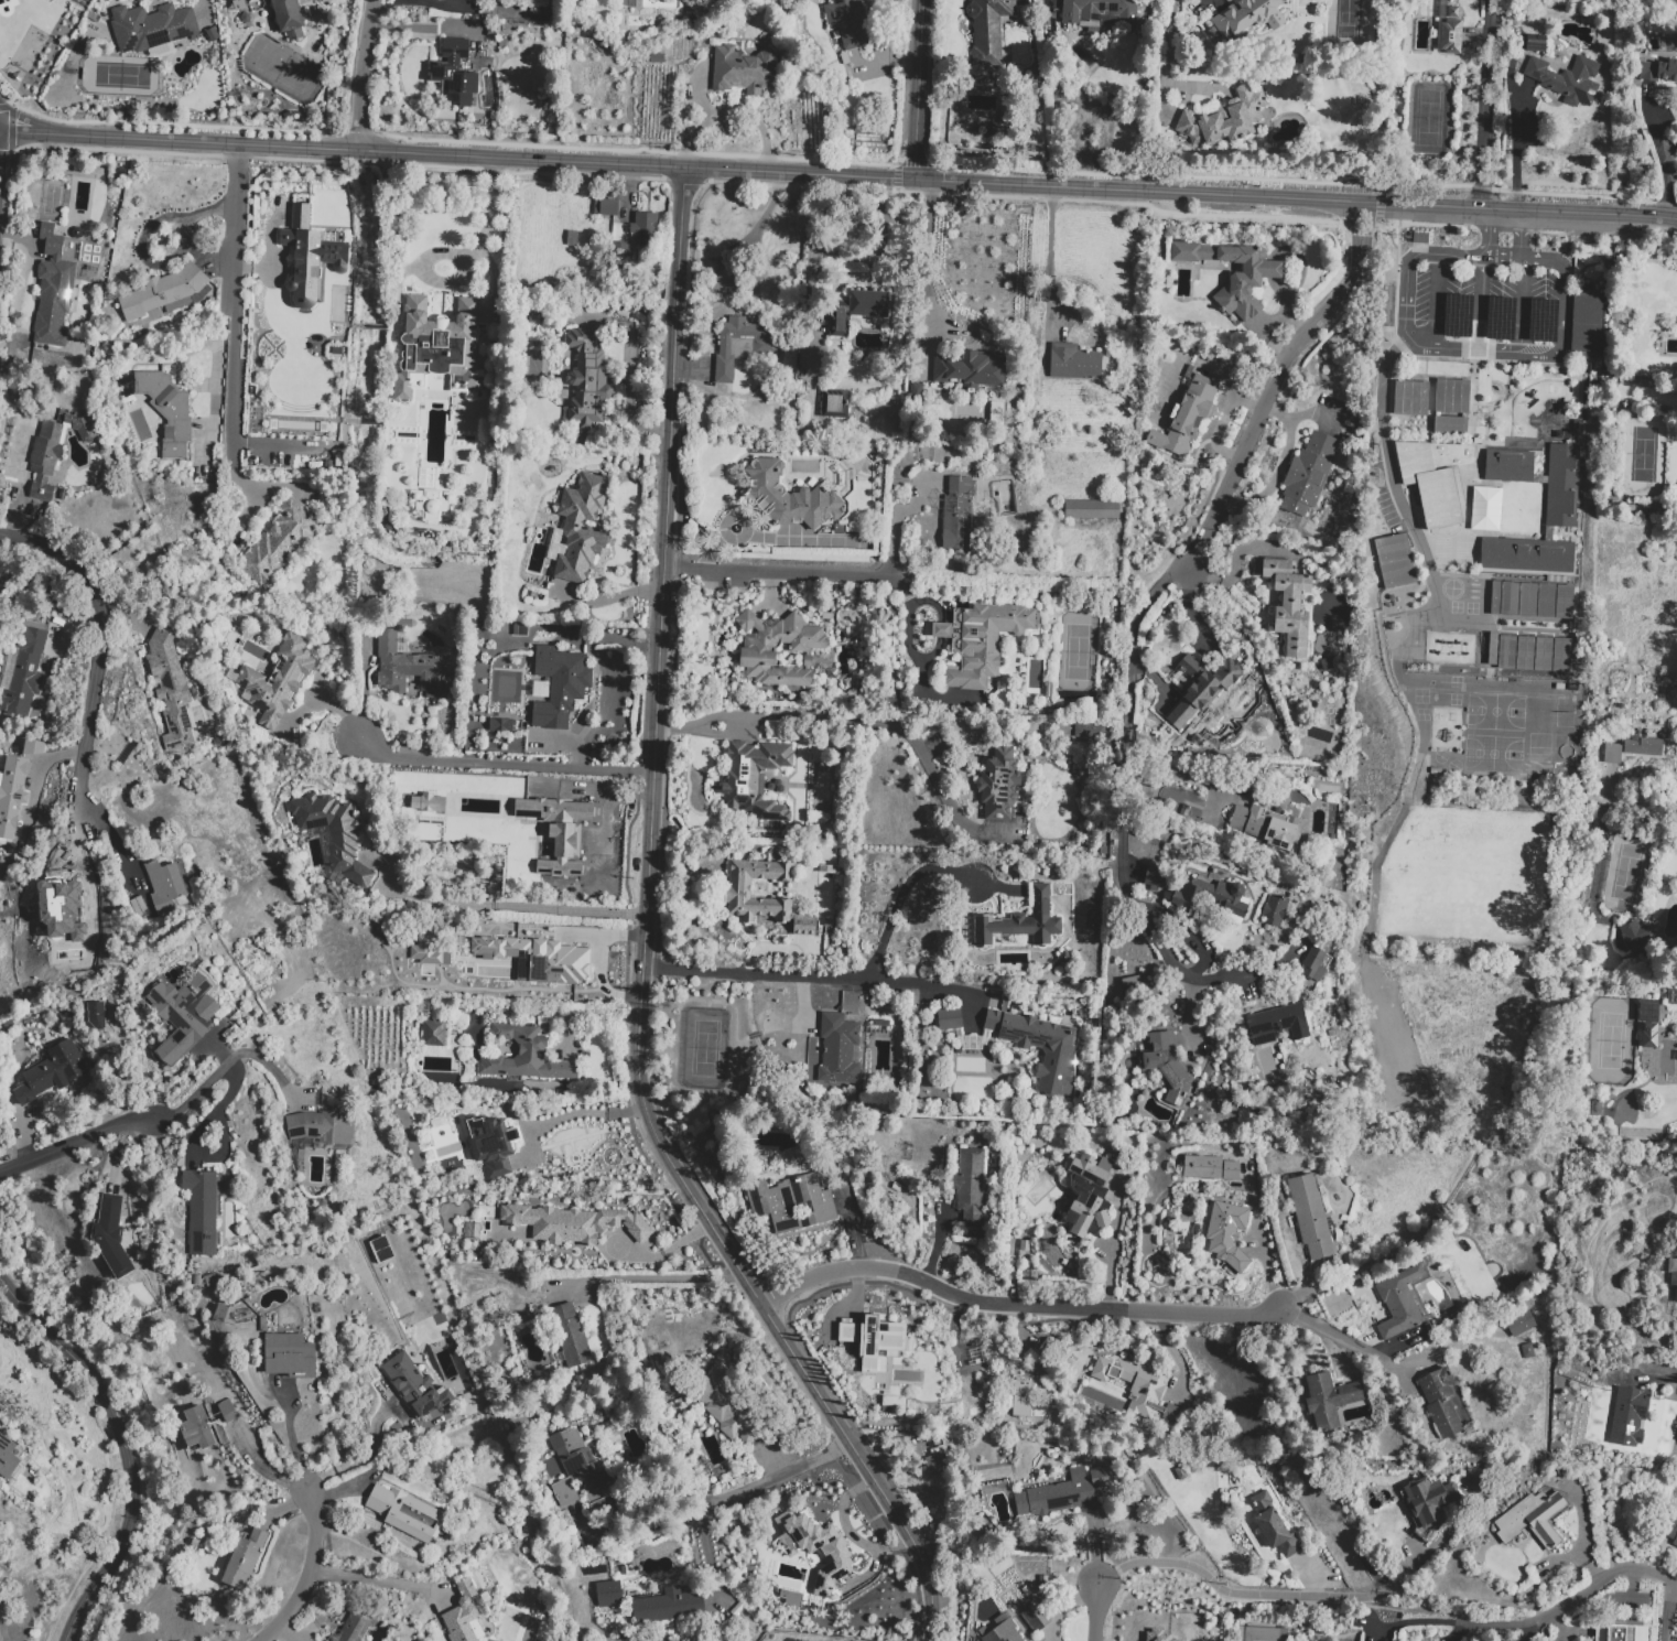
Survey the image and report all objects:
building: (51, 0)
building: (650, 3)
building: (1101, 12)
building: (1452, 12)
building: (288, 18)
building: (1248, 18)
building: (848, 22)
building: (152, 28)
building: (988, 30)
building: (1451, 36)
road: (1166, 50)
building: (743, 69)
building: (1658, 71)
building: (454, 74)
road: (364, 75)
building: (1567, 79)
road: (919, 89)
road: (1486, 105)
park: (1427, 117)
building: (1224, 119)
road: (1512, 121)
road: (173, 126)
road: (15, 130)
road: (1664, 149)
road: (916, 163)
road: (706, 169)
road: (896, 175)
road: (1119, 202)
building: (606, 207)
road: (1380, 209)
road: (1512, 209)
road: (1660, 217)
road: (760, 223)
road: (1427, 224)
road: (1373, 226)
building: (645, 228)
road: (1356, 230)
road: (1486, 233)
road: (1519, 234)
road: (1397, 237)
road: (480, 238)
building: (572, 239)
building: (309, 256)
building: (624, 256)
road: (923, 258)
road: (1051, 259)
road: (1541, 260)
road: (250, 268)
building: (1233, 273)
road: (1406, 278)
building: (54, 292)
building: (164, 292)
road: (227, 296)
road: (1436, 300)
road: (1482, 302)
road: (1519, 304)
building: (857, 310)
building: (1588, 325)
building: (765, 347)
road: (1559, 347)
building: (439, 350)
building: (1074, 363)
building: (971, 368)
building: (587, 376)
road: (627, 376)
building: (1451, 396)
building: (1410, 399)
building: (834, 403)
building: (167, 412)
road: (1257, 420)
building: (1187, 421)
building: (1449, 424)
building: (54, 452)
building: (1508, 466)
road: (1278, 468)
building: (1308, 475)
building: (1433, 478)
building: (1562, 486)
building: (788, 497)
building: (432, 504)
building: (1091, 509)
building: (1486, 509)
building: (959, 514)
road: (894, 521)
building: (582, 528)
building: (279, 543)
building: (1527, 555)
building: (1394, 561)
road: (779, 571)
building: (1494, 598)
building: (1510, 598)
building: (1527, 600)
building: (1546, 601)
building: (1564, 602)
building: (1289, 605)
building: (981, 640)
road: (100, 646)
building: (758, 648)
building: (1432, 649)
building: (1451, 650)
building: (1469, 651)
building: (1507, 654)
building: (1525, 654)
building: (1543, 655)
building: (1561, 656)
building: (409, 662)
road: (1397, 666)
building: (22, 671)
building: (278, 681)
building: (560, 685)
building: (1202, 687)
building: (170, 691)
road: (857, 722)
building: (501, 725)
building: (1088, 732)
building: (33, 747)
building: (1643, 747)
building: (1612, 754)
road: (504, 767)
building: (754, 778)
road: (1205, 782)
building: (998, 785)
building: (12, 793)
building: (419, 795)
road: (1632, 801)
building: (1268, 827)
building: (558, 831)
building: (332, 834)
road: (1133, 849)
building: (1154, 882)
building: (166, 885)
road: (902, 893)
building: (747, 898)
building: (1184, 898)
building: (76, 907)
road: (519, 907)
building: (1281, 910)
building: (1020, 922)
building: (1636, 936)
road: (646, 943)
building: (537, 958)
building: (437, 959)
building: (1314, 964)
road: (811, 975)
road: (542, 996)
building: (1646, 1011)
road: (1188, 1012)
building: (182, 1014)
building: (96, 1015)
building: (949, 1019)
building: (992, 1021)
building: (1279, 1022)
building: (433, 1034)
building: (1648, 1035)
park: (1610, 1040)
building: (976, 1043)
building: (838, 1049)
building: (1046, 1052)
building: (526, 1056)
building: (1168, 1066)
road: (219, 1068)
building: (52, 1072)
road: (589, 1112)
building: (322, 1126)
road: (101, 1132)
building: (478, 1136)
road: (1493, 1141)
road: (26, 1160)
building: (1202, 1167)
building: (1231, 1170)
building: (970, 1186)
building: (1084, 1192)
building: (790, 1201)
building: (202, 1211)
building: (1310, 1217)
building: (1102, 1220)
building: (572, 1223)
building: (112, 1233)
building: (1226, 1233)
building: (1025, 1245)
building: (381, 1250)
road: (1405, 1254)
road: (1268, 1274)
building: (1673, 1276)
road: (649, 1278)
building: (196, 1281)
building: (210, 1281)
building: (1399, 1304)
road: (1014, 1305)
building: (1521, 1324)
road: (1550, 1329)
building: (571, 1335)
building: (874, 1338)
road: (1340, 1338)
road: (1334, 1350)
building: (1527, 1351)
road: (1175, 1354)
building: (290, 1356)
road: (1667, 1377)
building: (414, 1386)
building: (1139, 1389)
building: (1020, 1397)
building: (890, 1401)
building: (1440, 1401)
building: (734, 1402)
building: (1329, 1403)
building: (1629, 1418)
building: (206, 1424)
road: (289, 1438)
road: (123, 1448)
road: (363, 1457)
building: (8, 1458)
building: (934, 1461)
road: (261, 1467)
building: (577, 1470)
road: (335, 1491)
building: (1065, 1493)
road: (717, 1499)
building: (1430, 1500)
road: (282, 1508)
building: (392, 1514)
building: (1532, 1519)
road: (108, 1522)
building: (1274, 1525)
building: (1671, 1532)
road: (711, 1548)
building: (835, 1556)
building: (244, 1561)
road: (1645, 1570)
road: (311, 1574)
road: (369, 1579)
building: (608, 1594)
road: (1255, 1594)
road: (1575, 1597)
road: (1310, 1602)
building: (668, 1607)
road: (1095, 1610)
road: (1666, 1611)
building: (462, 1613)
building: (1036, 1617)
road: (1456, 1622)
building: (354, 1627)
building: (1000, 1630)
building: (1613, 1632)
road: (283, 1635)
building: (1158, 1635)

